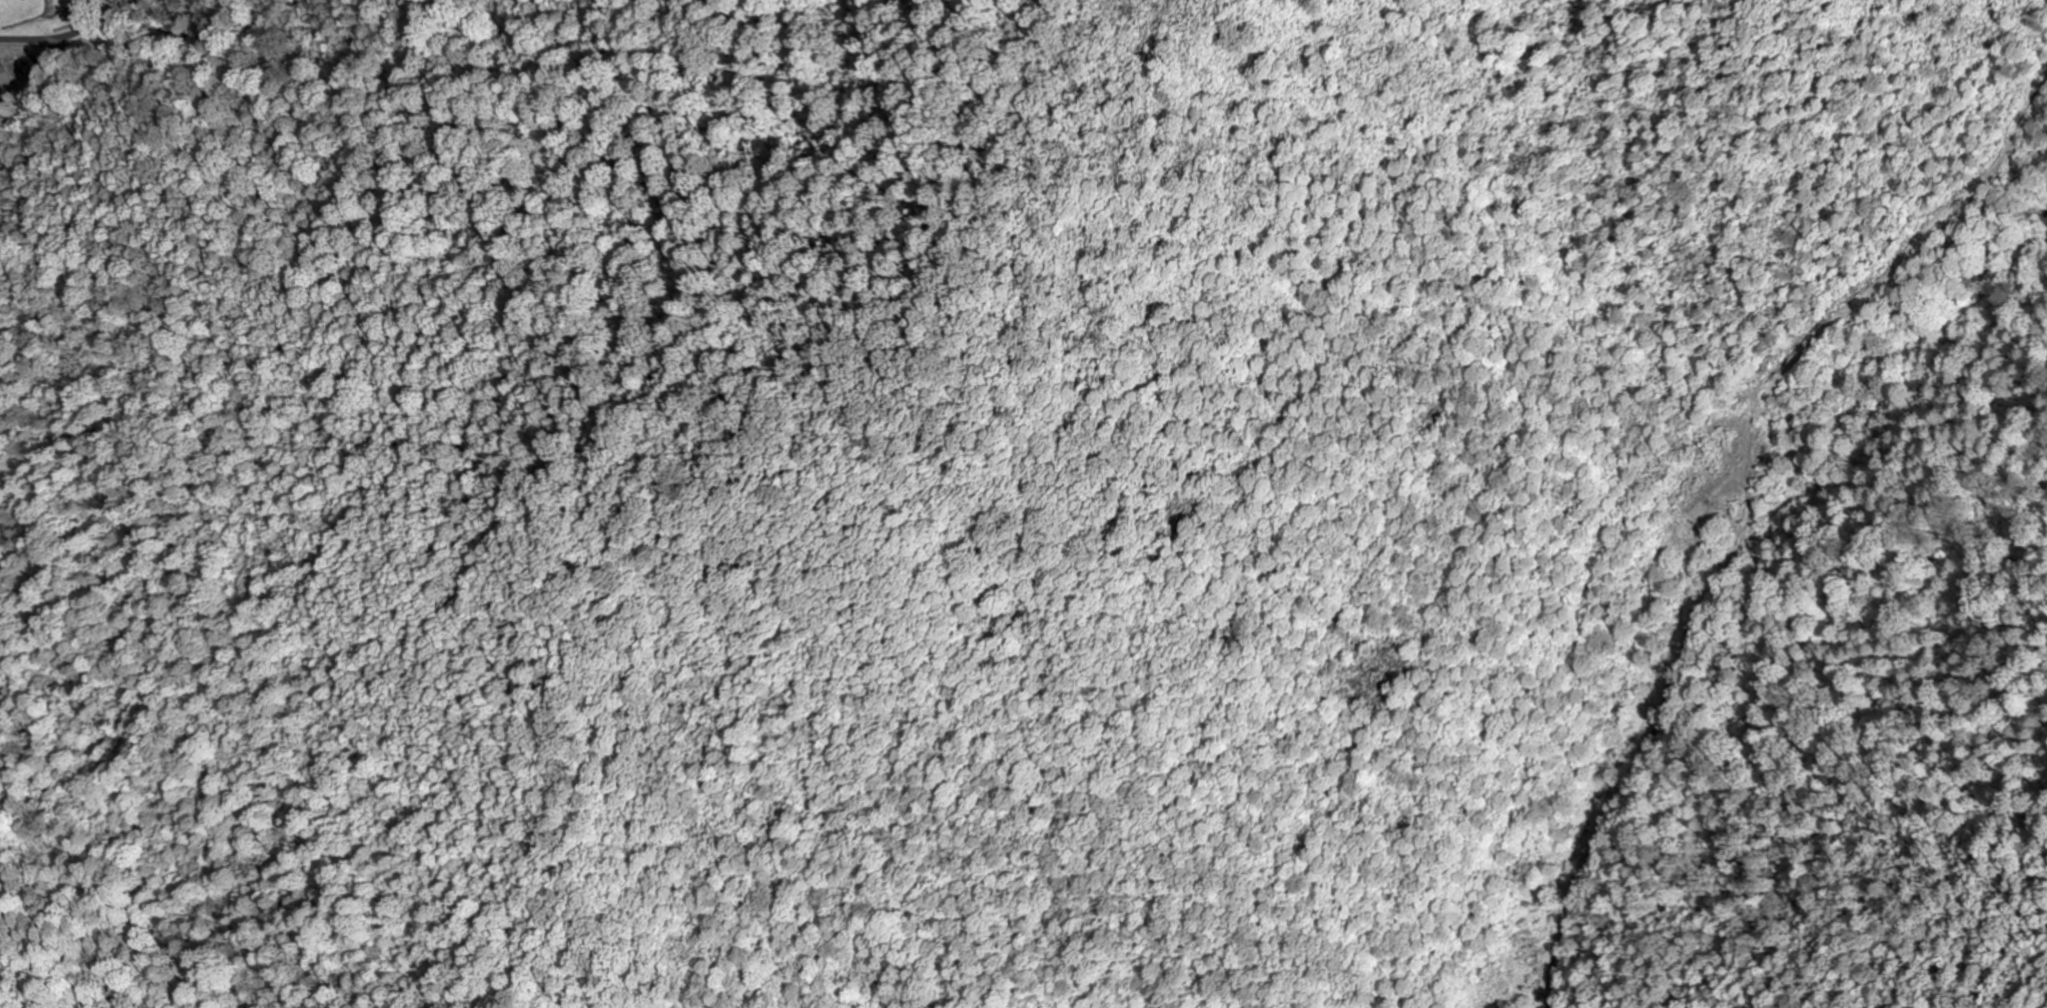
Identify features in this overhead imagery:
road: (68, 32)
building: (0, 81)

